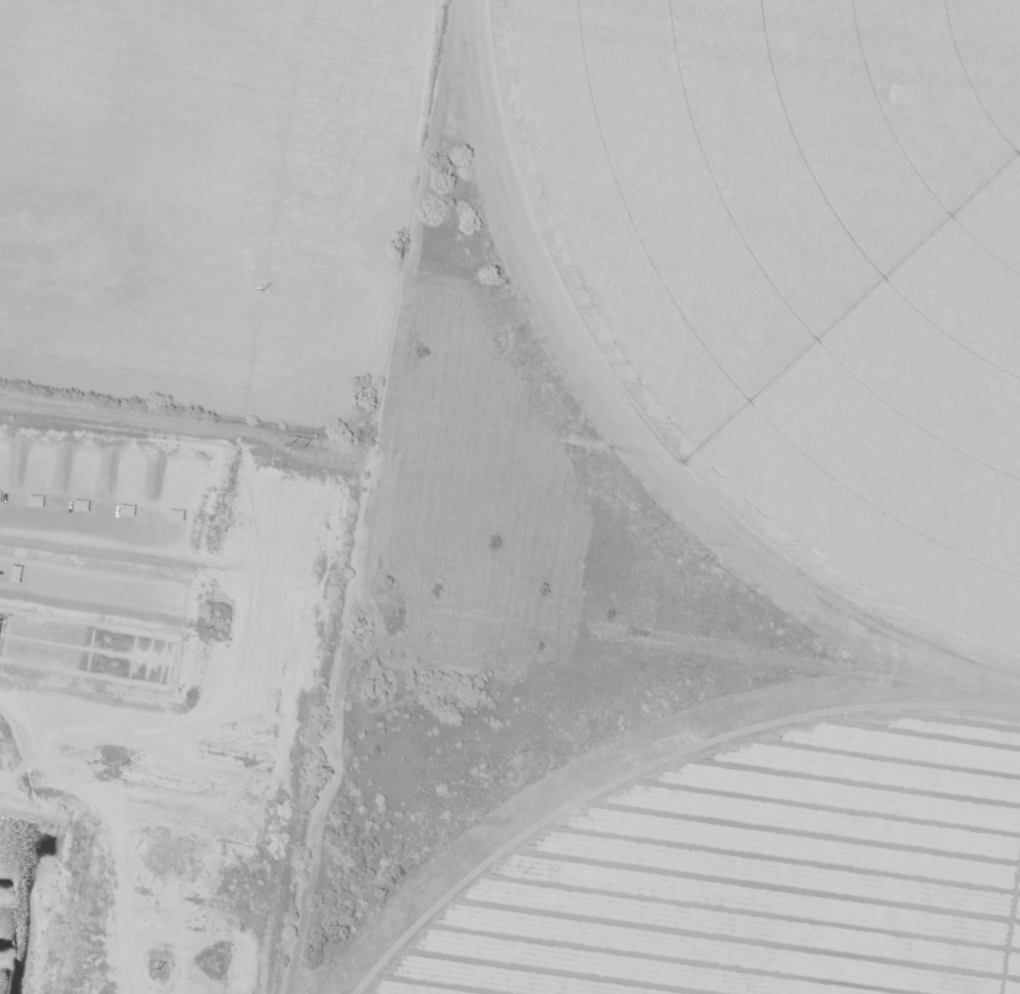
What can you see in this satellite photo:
power tower: (296, 444)
road: (357, 499)

